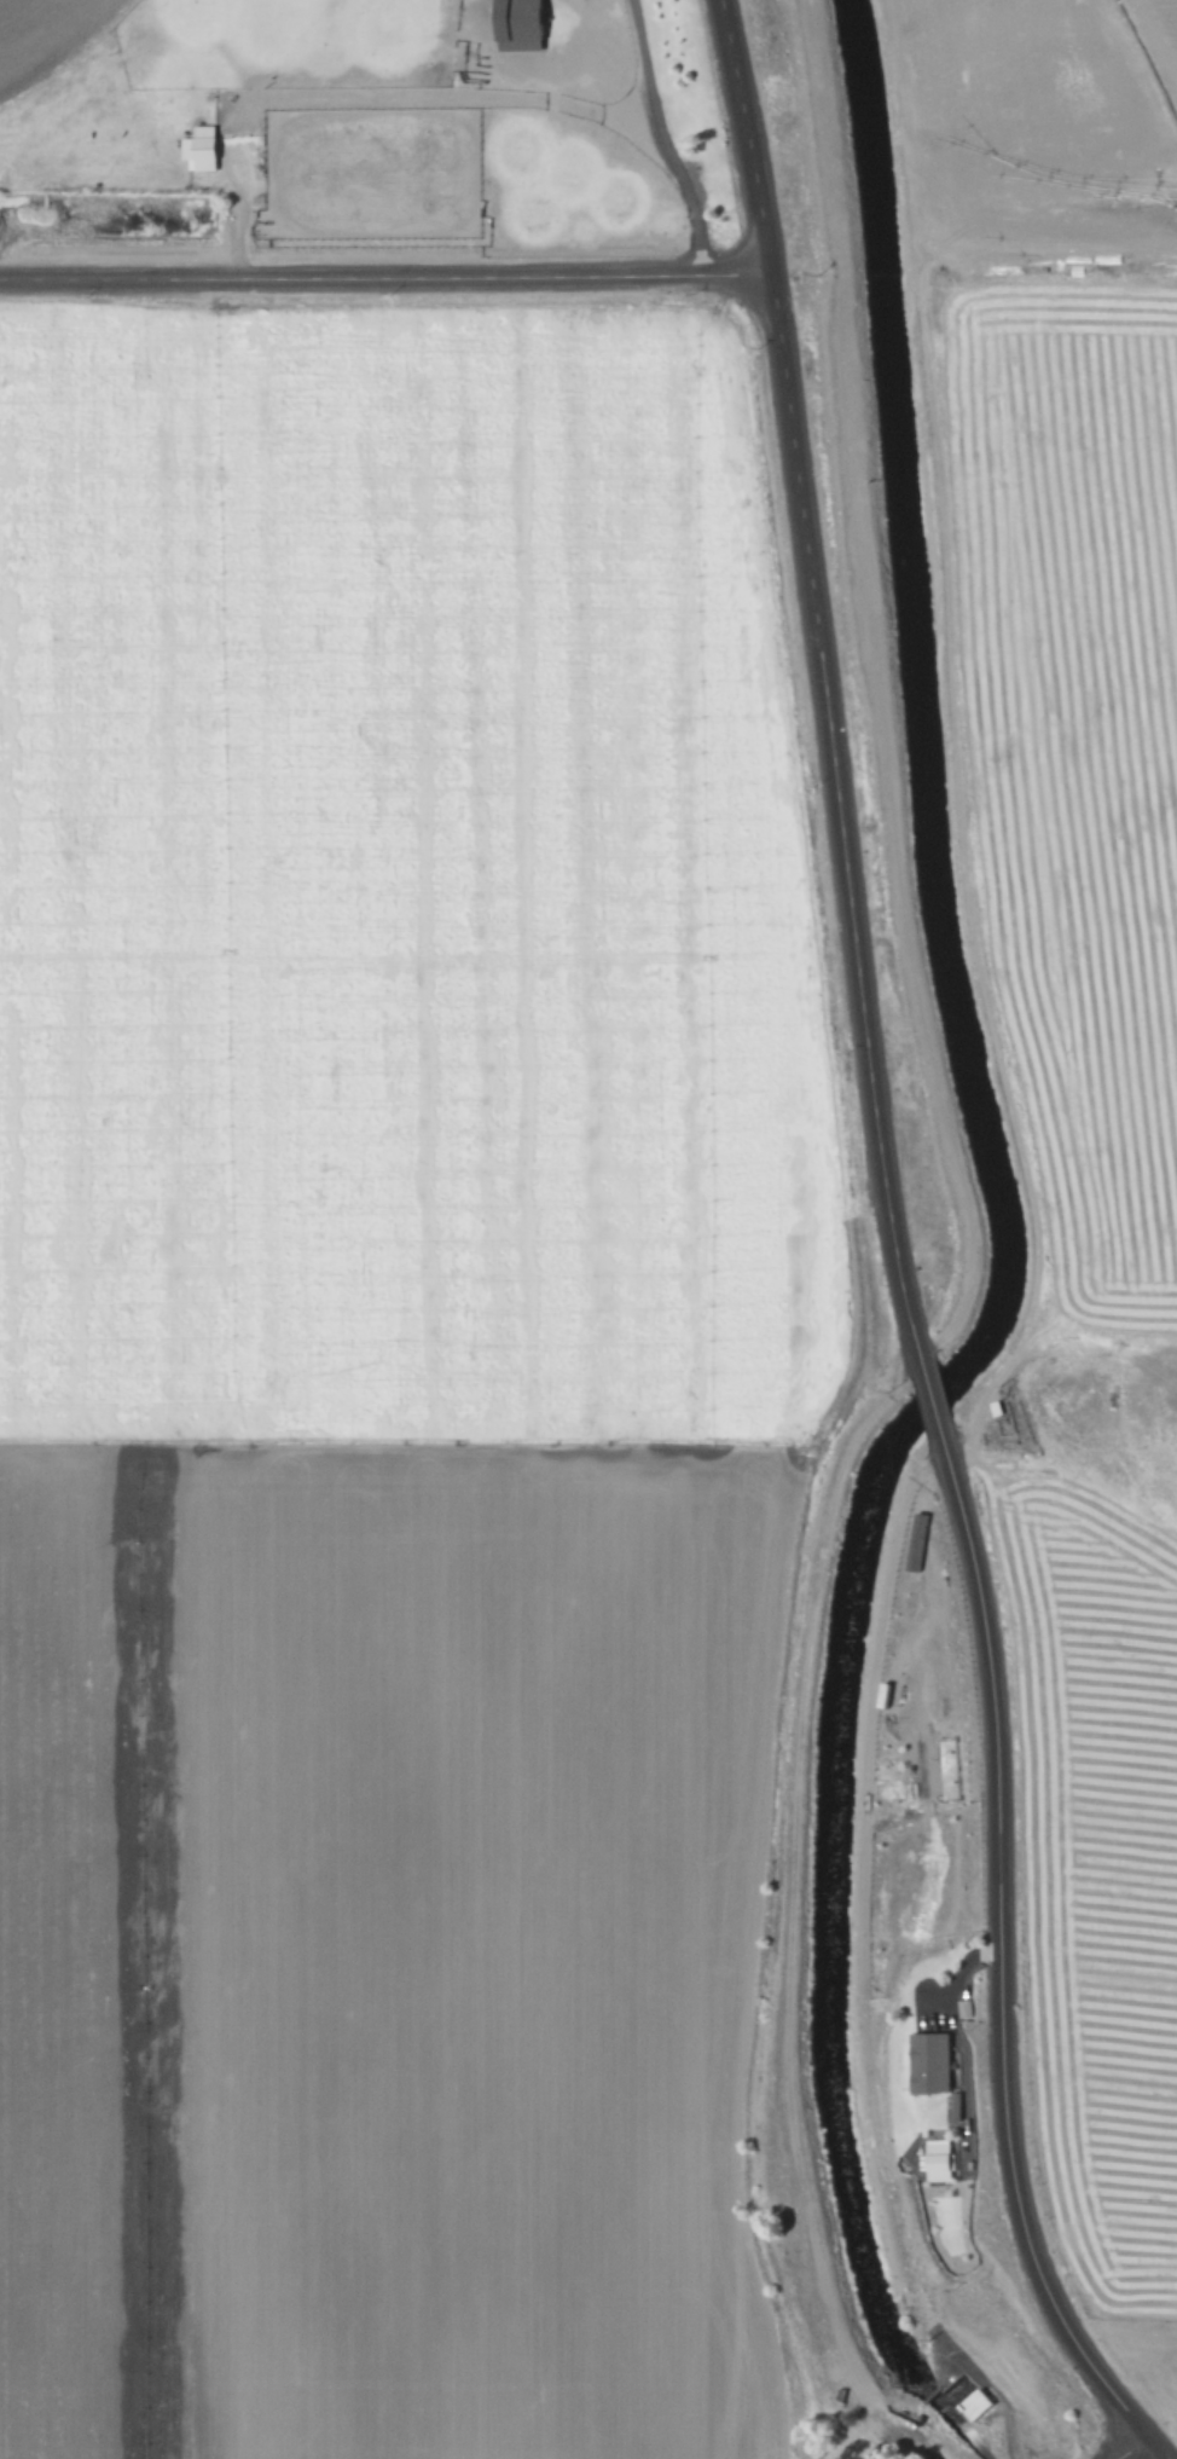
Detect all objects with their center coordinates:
building: (515, 25)
crop: (349, 122)
building: (197, 149)
road: (385, 278)
road: (823, 679)
crop: (1080, 974)
crop: (402, 1379)
road: (930, 1402)
building: (918, 1769)
road: (1001, 1952)
building: (928, 2064)
building: (938, 2163)
road: (1123, 2447)
road: (1147, 2447)

